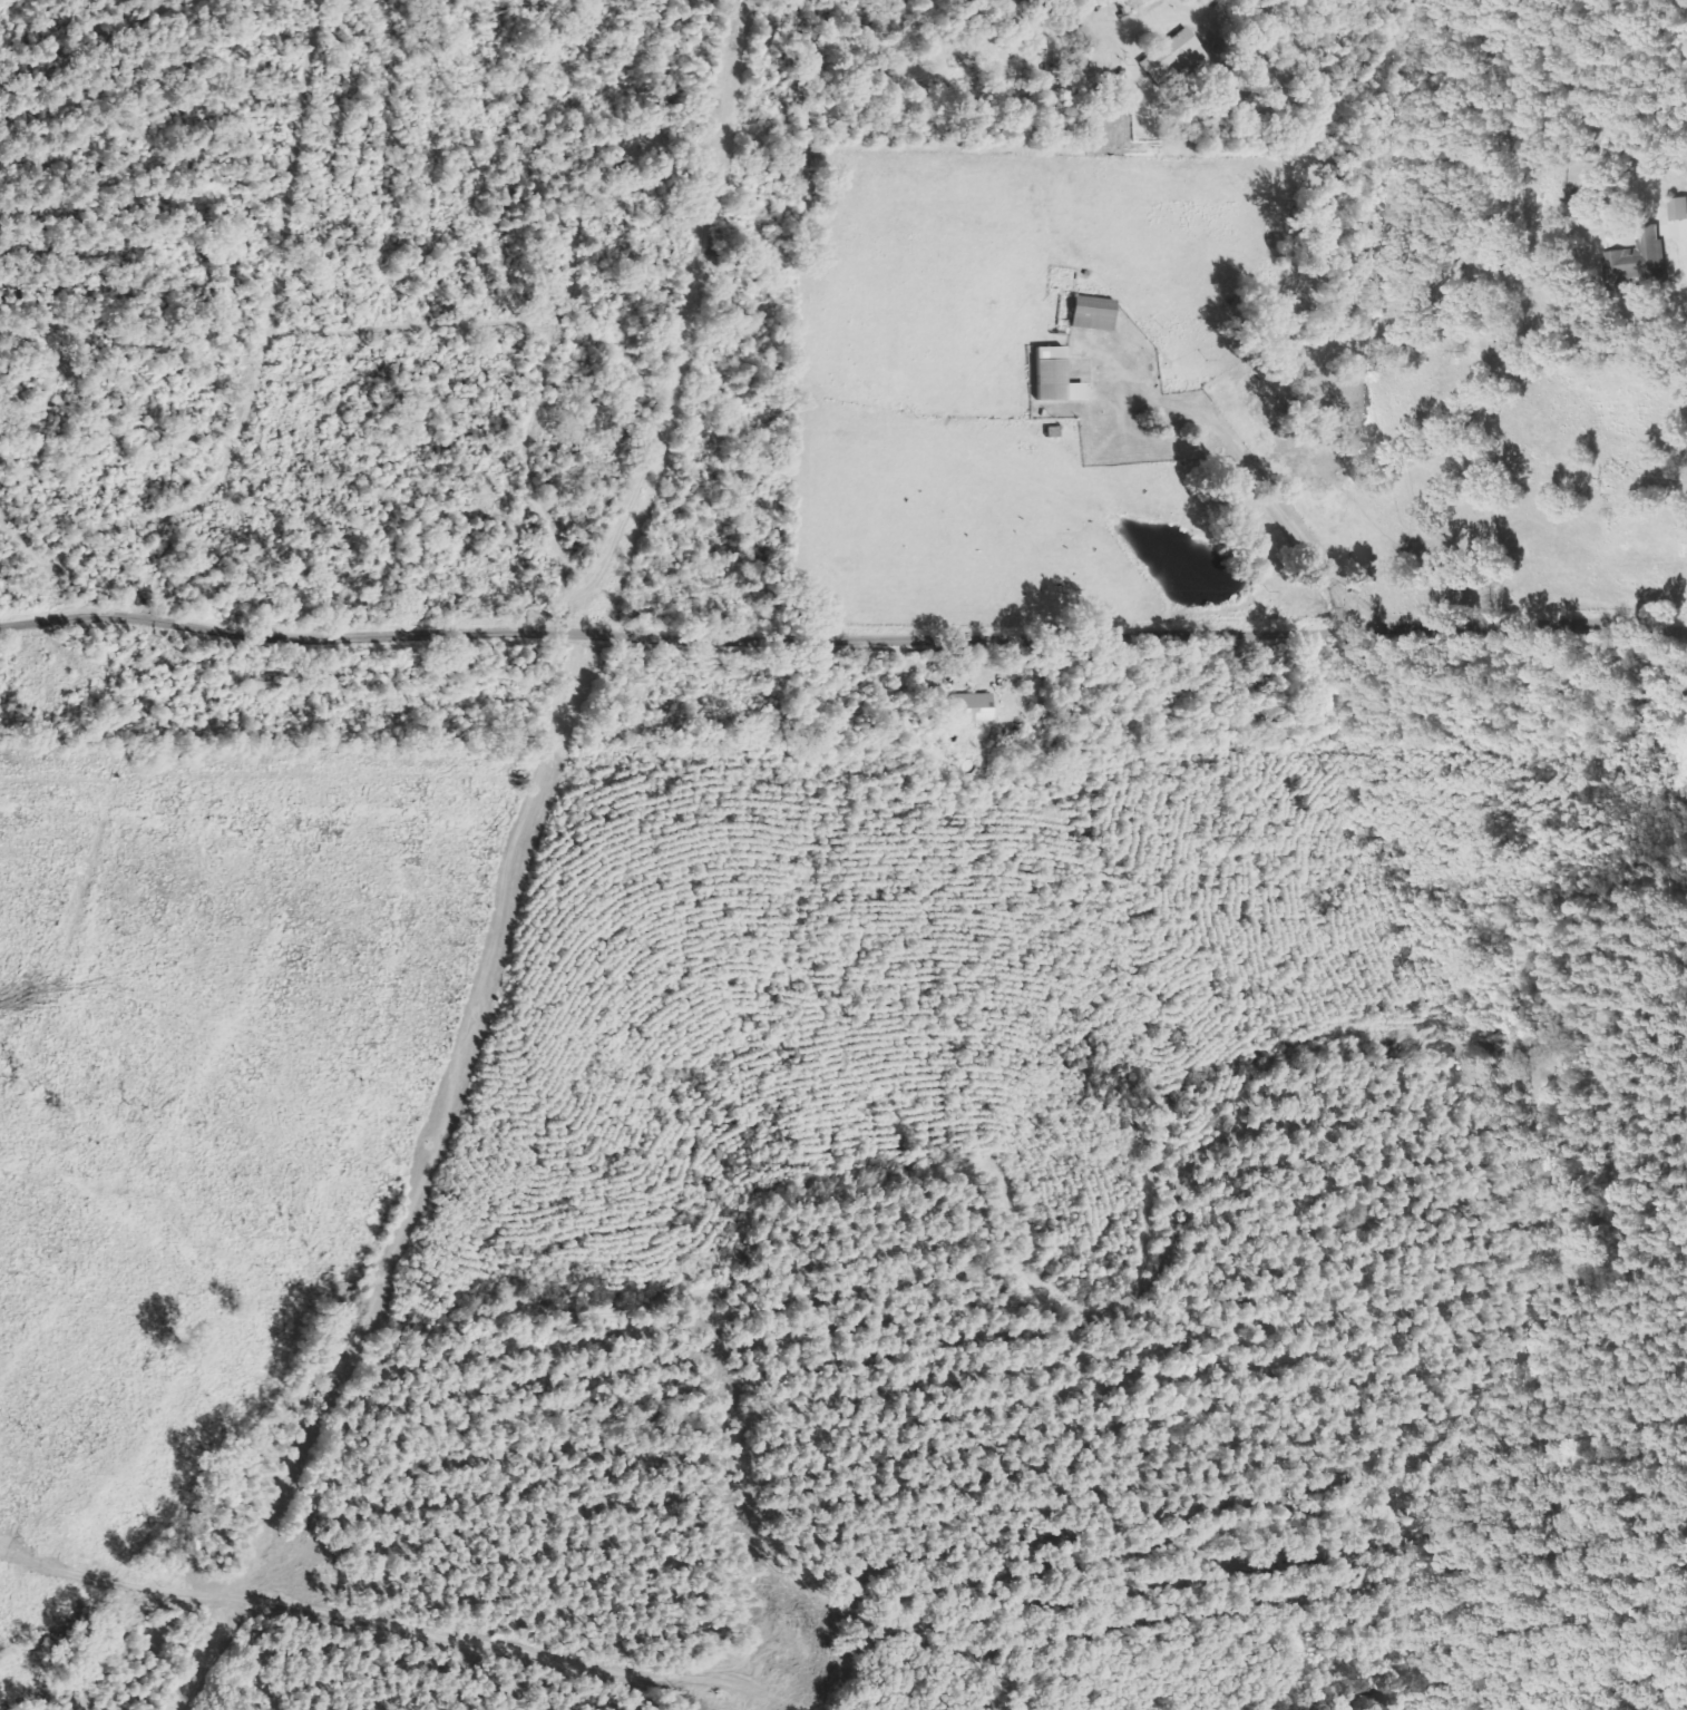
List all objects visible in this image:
building: (1170, 57)
building: (1678, 209)
building: (1642, 256)
building: (1092, 314)
building: (1054, 378)
road: (38, 576)
road: (842, 638)
building: (971, 710)

